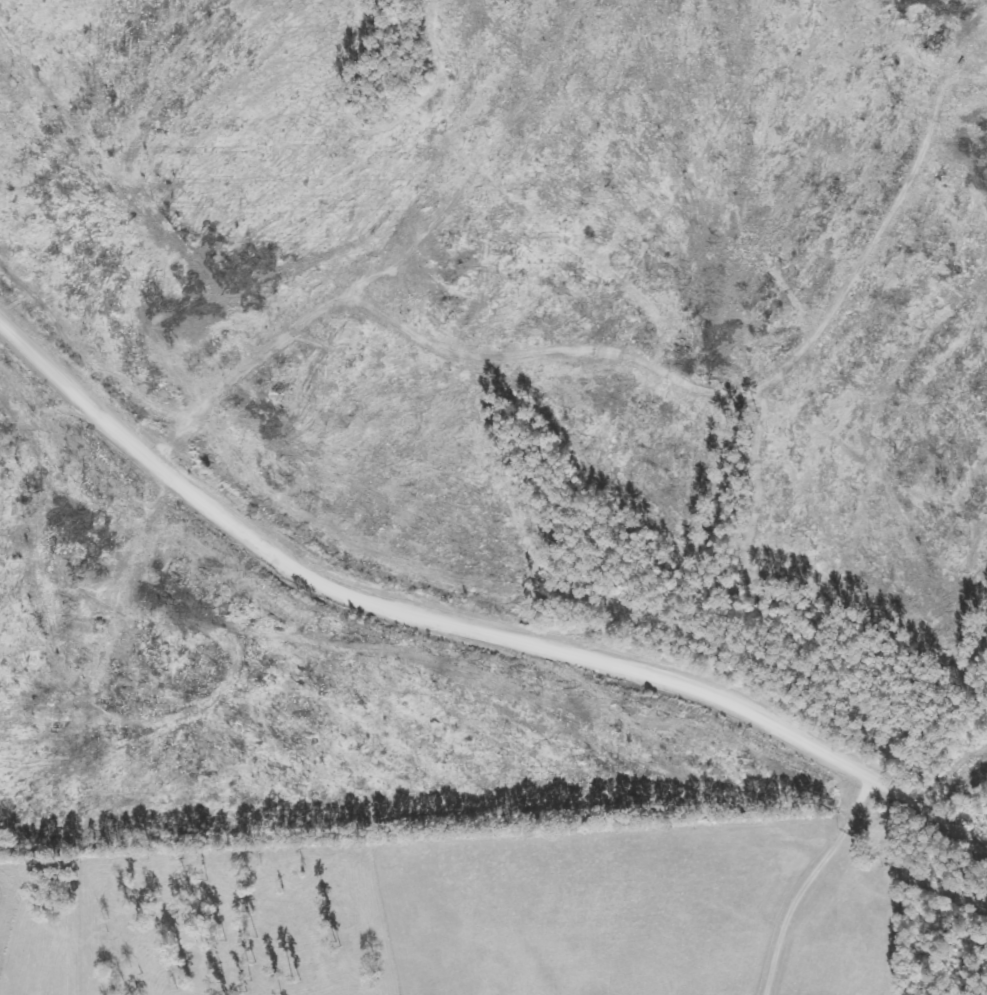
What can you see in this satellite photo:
road: (8, 200)
road: (202, 411)
road: (527, 602)
road: (468, 651)
road: (957, 777)
road: (983, 993)

